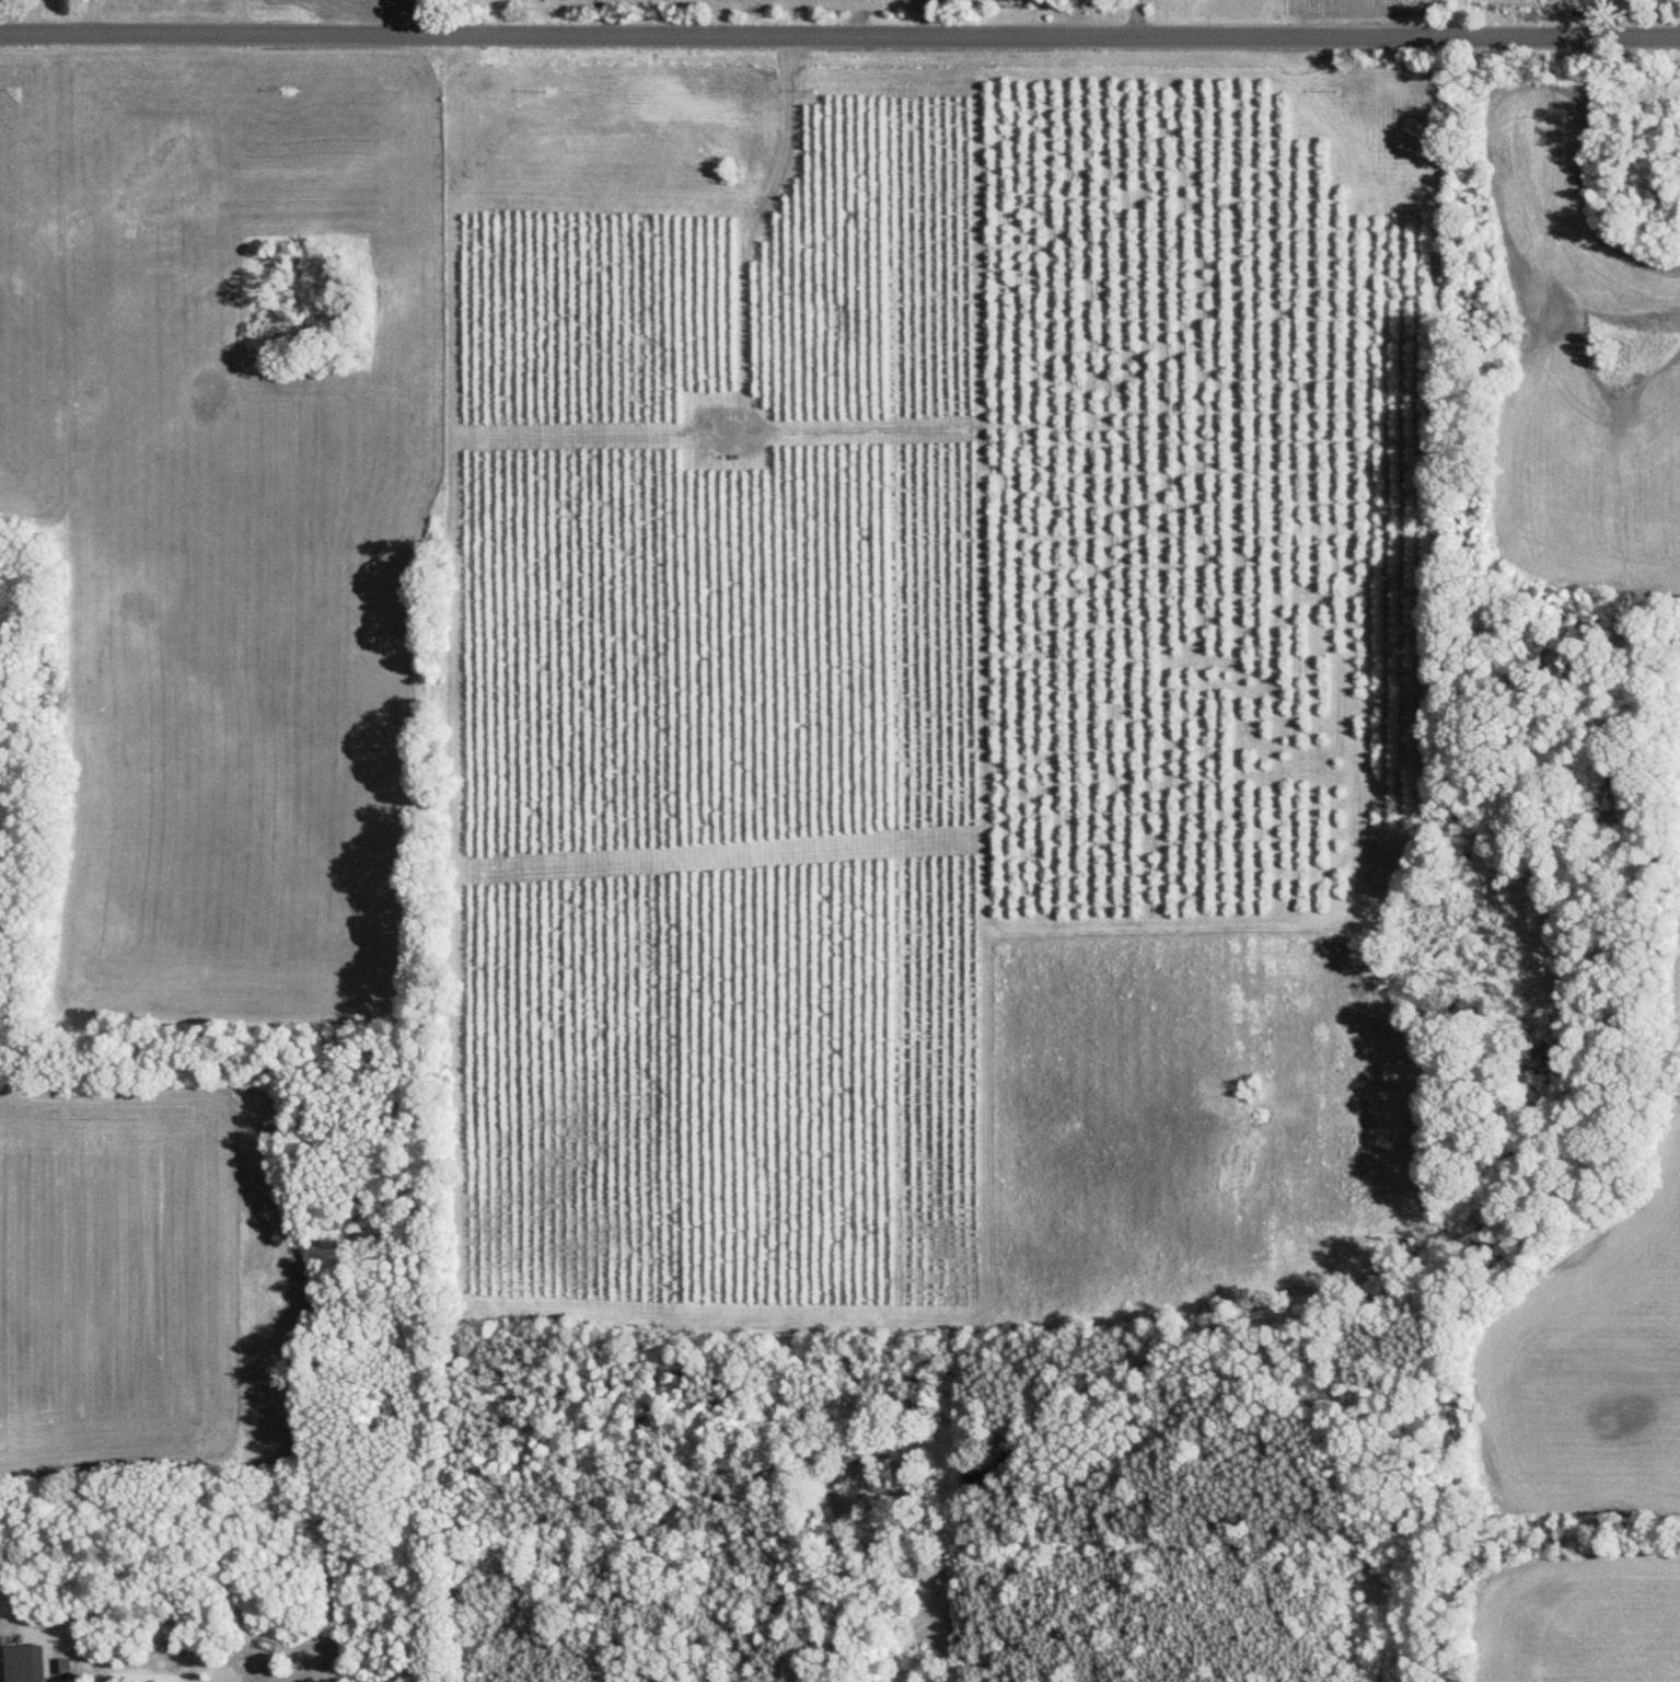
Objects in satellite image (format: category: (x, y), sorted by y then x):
road: (236, 14)
road: (1137, 15)
road: (839, 31)
road: (751, 224)
building: (10, 1663)
building: (62, 1669)

